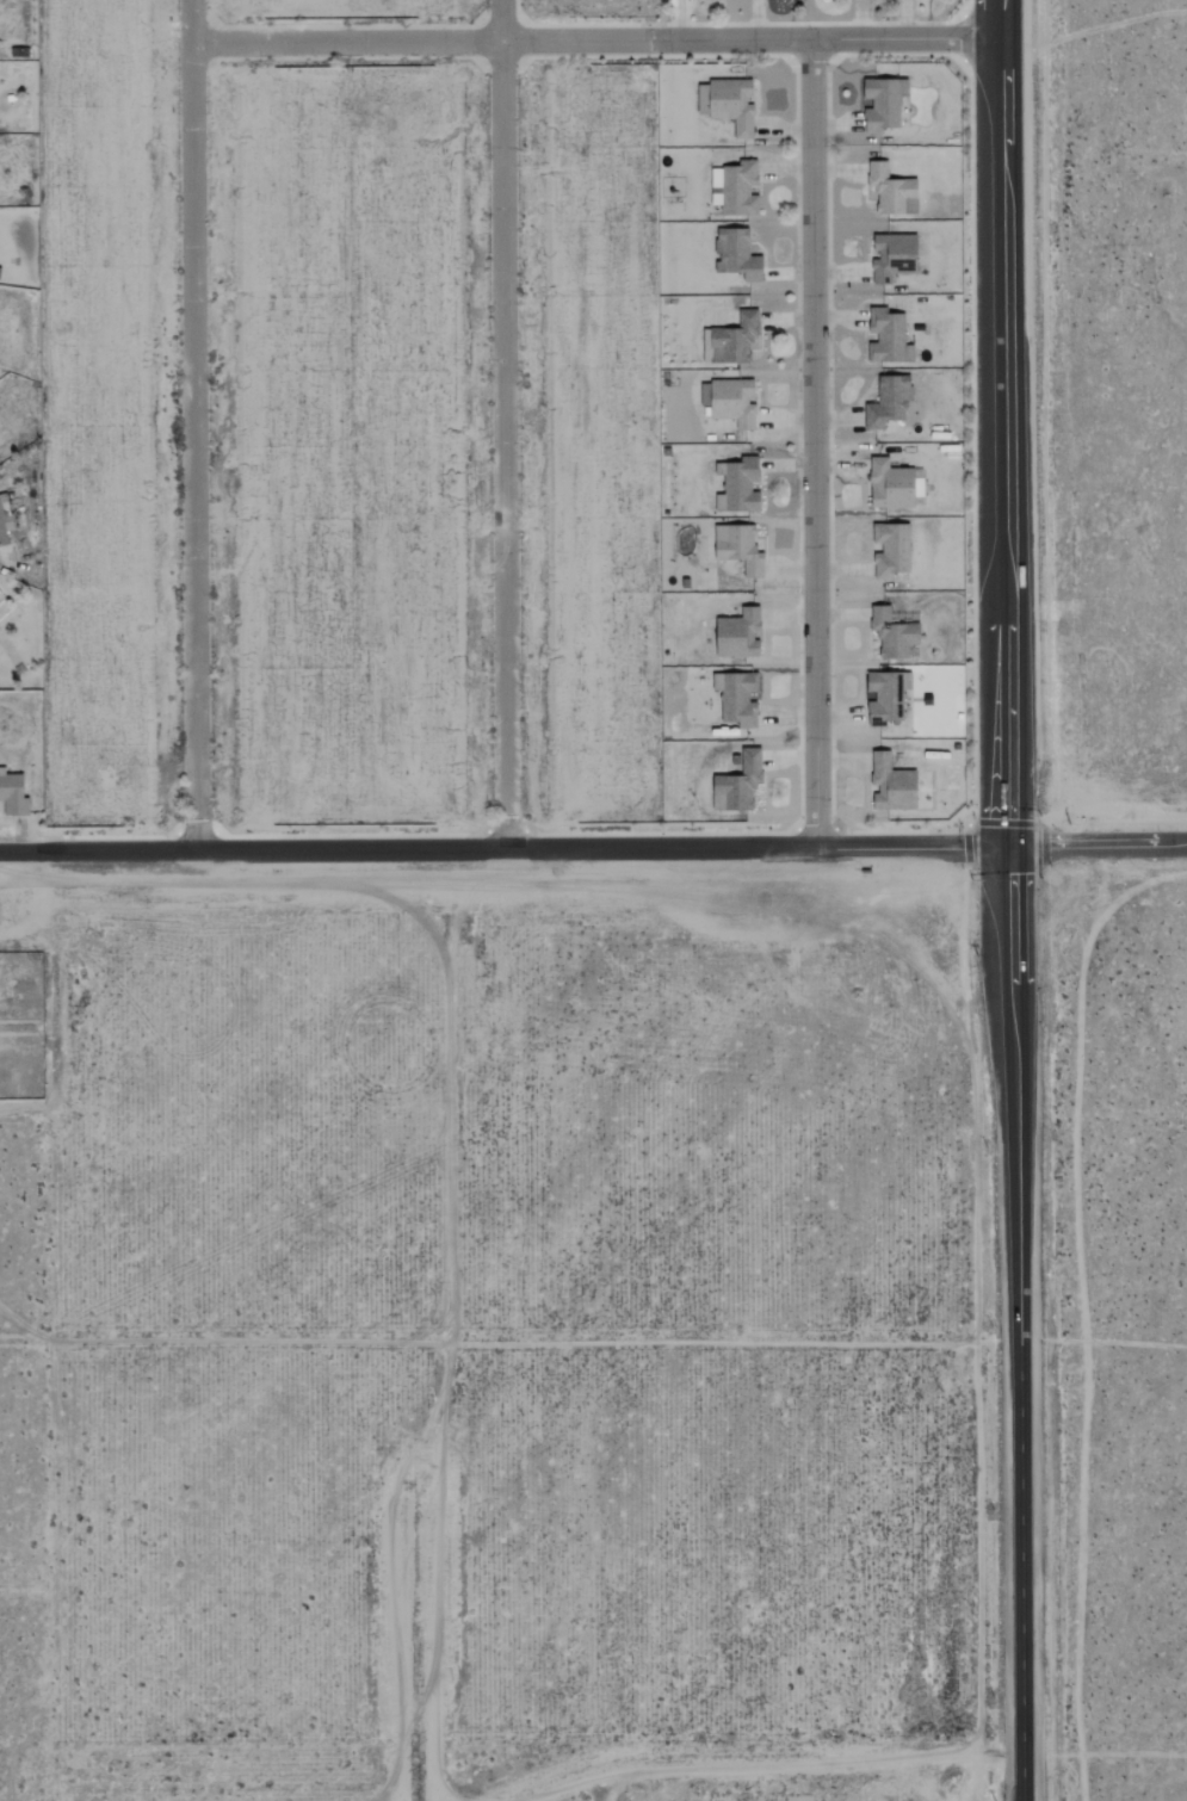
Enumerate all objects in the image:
road: (592, 45)
building: (883, 104)
building: (732, 105)
building: (891, 191)
building: (737, 255)
building: (894, 256)
building: (888, 338)
building: (734, 339)
building: (729, 402)
building: (889, 402)
road: (192, 425)
road: (501, 425)
road: (1000, 425)
road: (815, 447)
building: (895, 485)
building: (738, 487)
building: (5, 522)
building: (738, 549)
building: (891, 550)
building: (738, 635)
building: (892, 635)
building: (886, 697)
building: (737, 699)
building: (738, 785)
building: (891, 785)
building: (13, 796)
road: (1096, 847)
traffic signals: (1006, 849)
road: (502, 850)
road: (1018, 1324)

